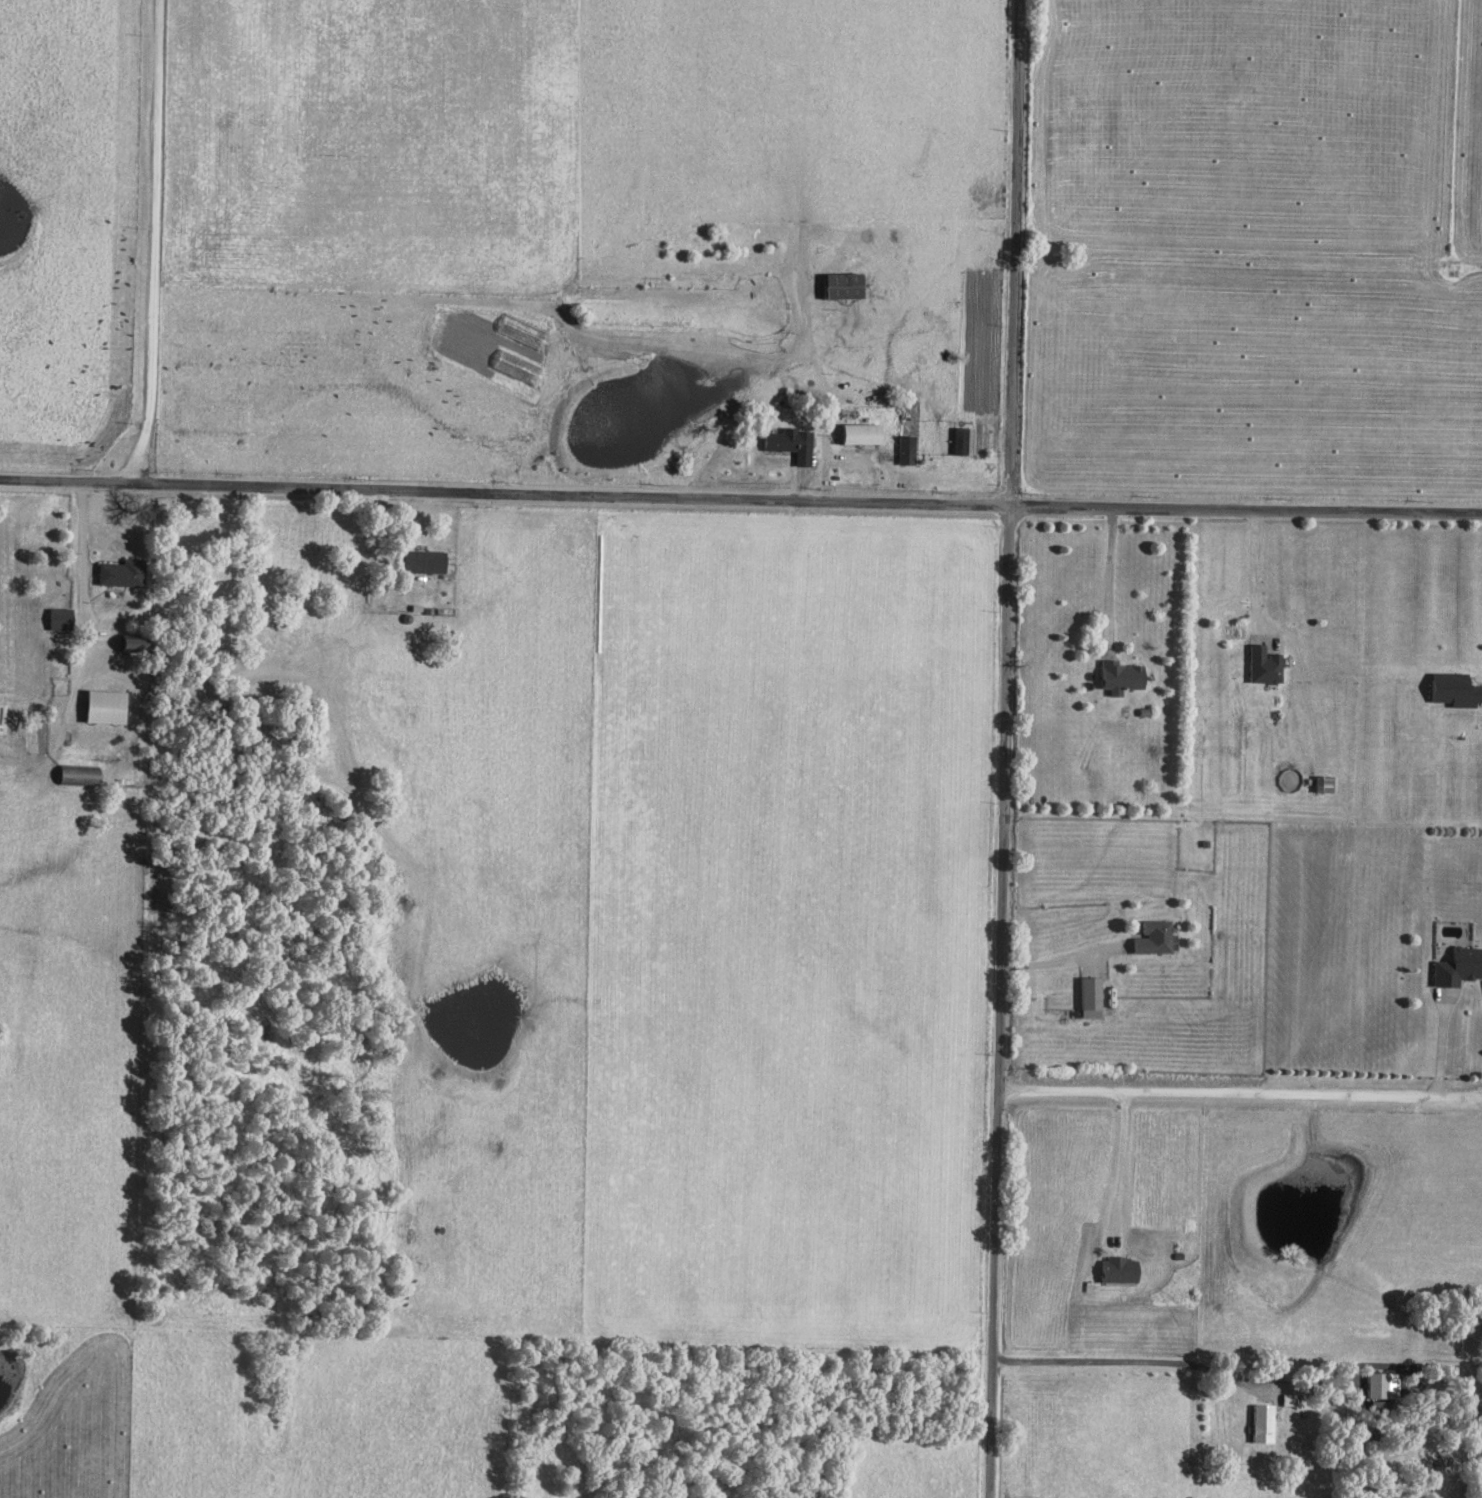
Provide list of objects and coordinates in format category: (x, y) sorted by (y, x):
road: (123, 161)
road: (152, 242)
building: (844, 286)
building: (862, 434)
building: (964, 441)
building: (791, 444)
building: (906, 450)
road: (740, 502)
building: (424, 562)
road: (80, 565)
road: (1254, 569)
building: (121, 573)
road: (1109, 575)
building: (60, 619)
building: (134, 643)
building: (1266, 665)
building: (1122, 677)
building: (1455, 690)
building: (106, 707)
road: (1005, 749)
building: (78, 776)
building: (1154, 936)
road: (1055, 960)
building: (1458, 966)
building: (1090, 996)
road: (1440, 1048)
road: (1238, 1092)
road: (1120, 1159)
building: (1120, 1269)
road: (1124, 1361)
building: (1383, 1385)
building: (1381, 1405)
building: (1263, 1423)

